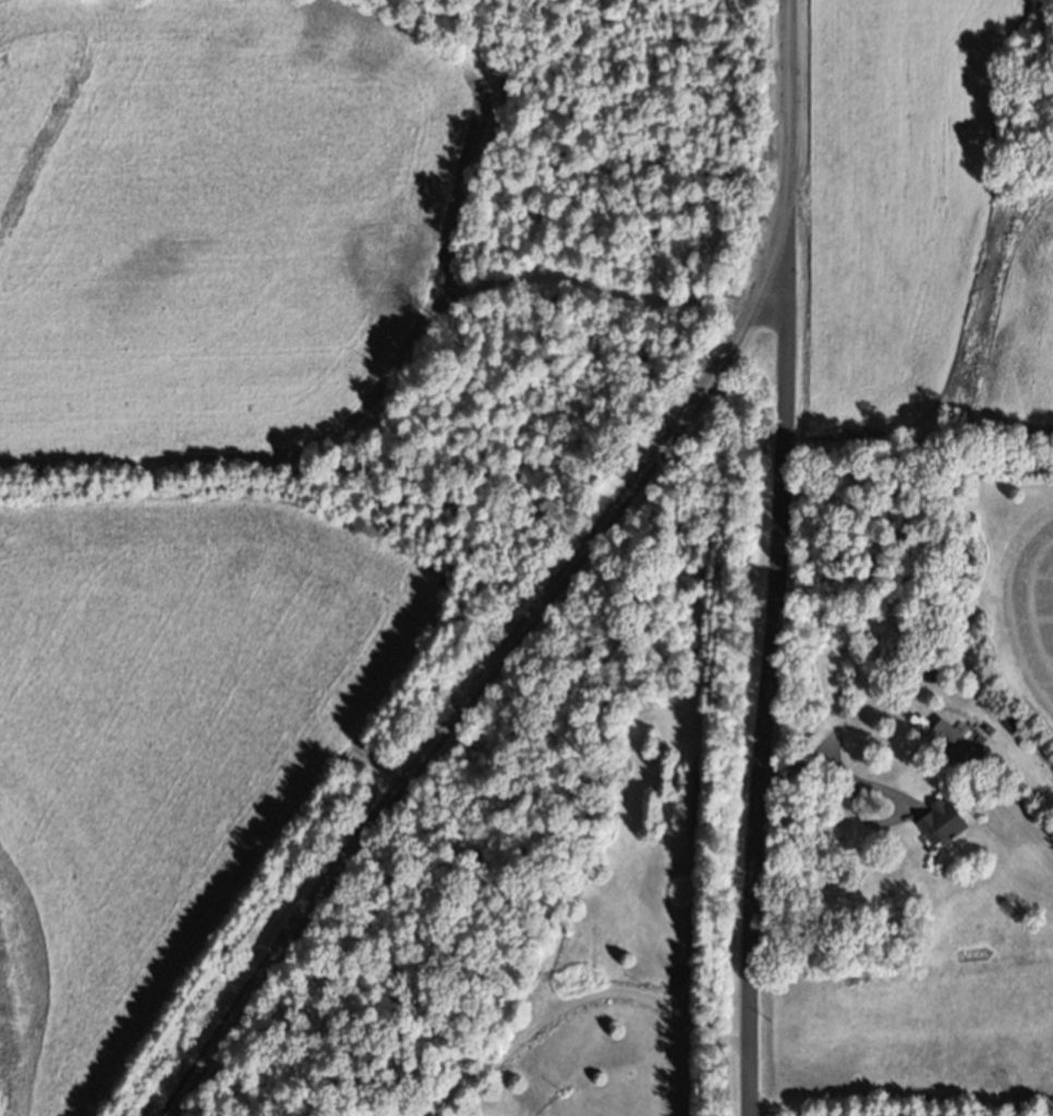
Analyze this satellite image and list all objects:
road: (560, 587)
road: (770, 670)
building: (942, 670)
road: (836, 730)
building: (952, 739)
building: (941, 822)

